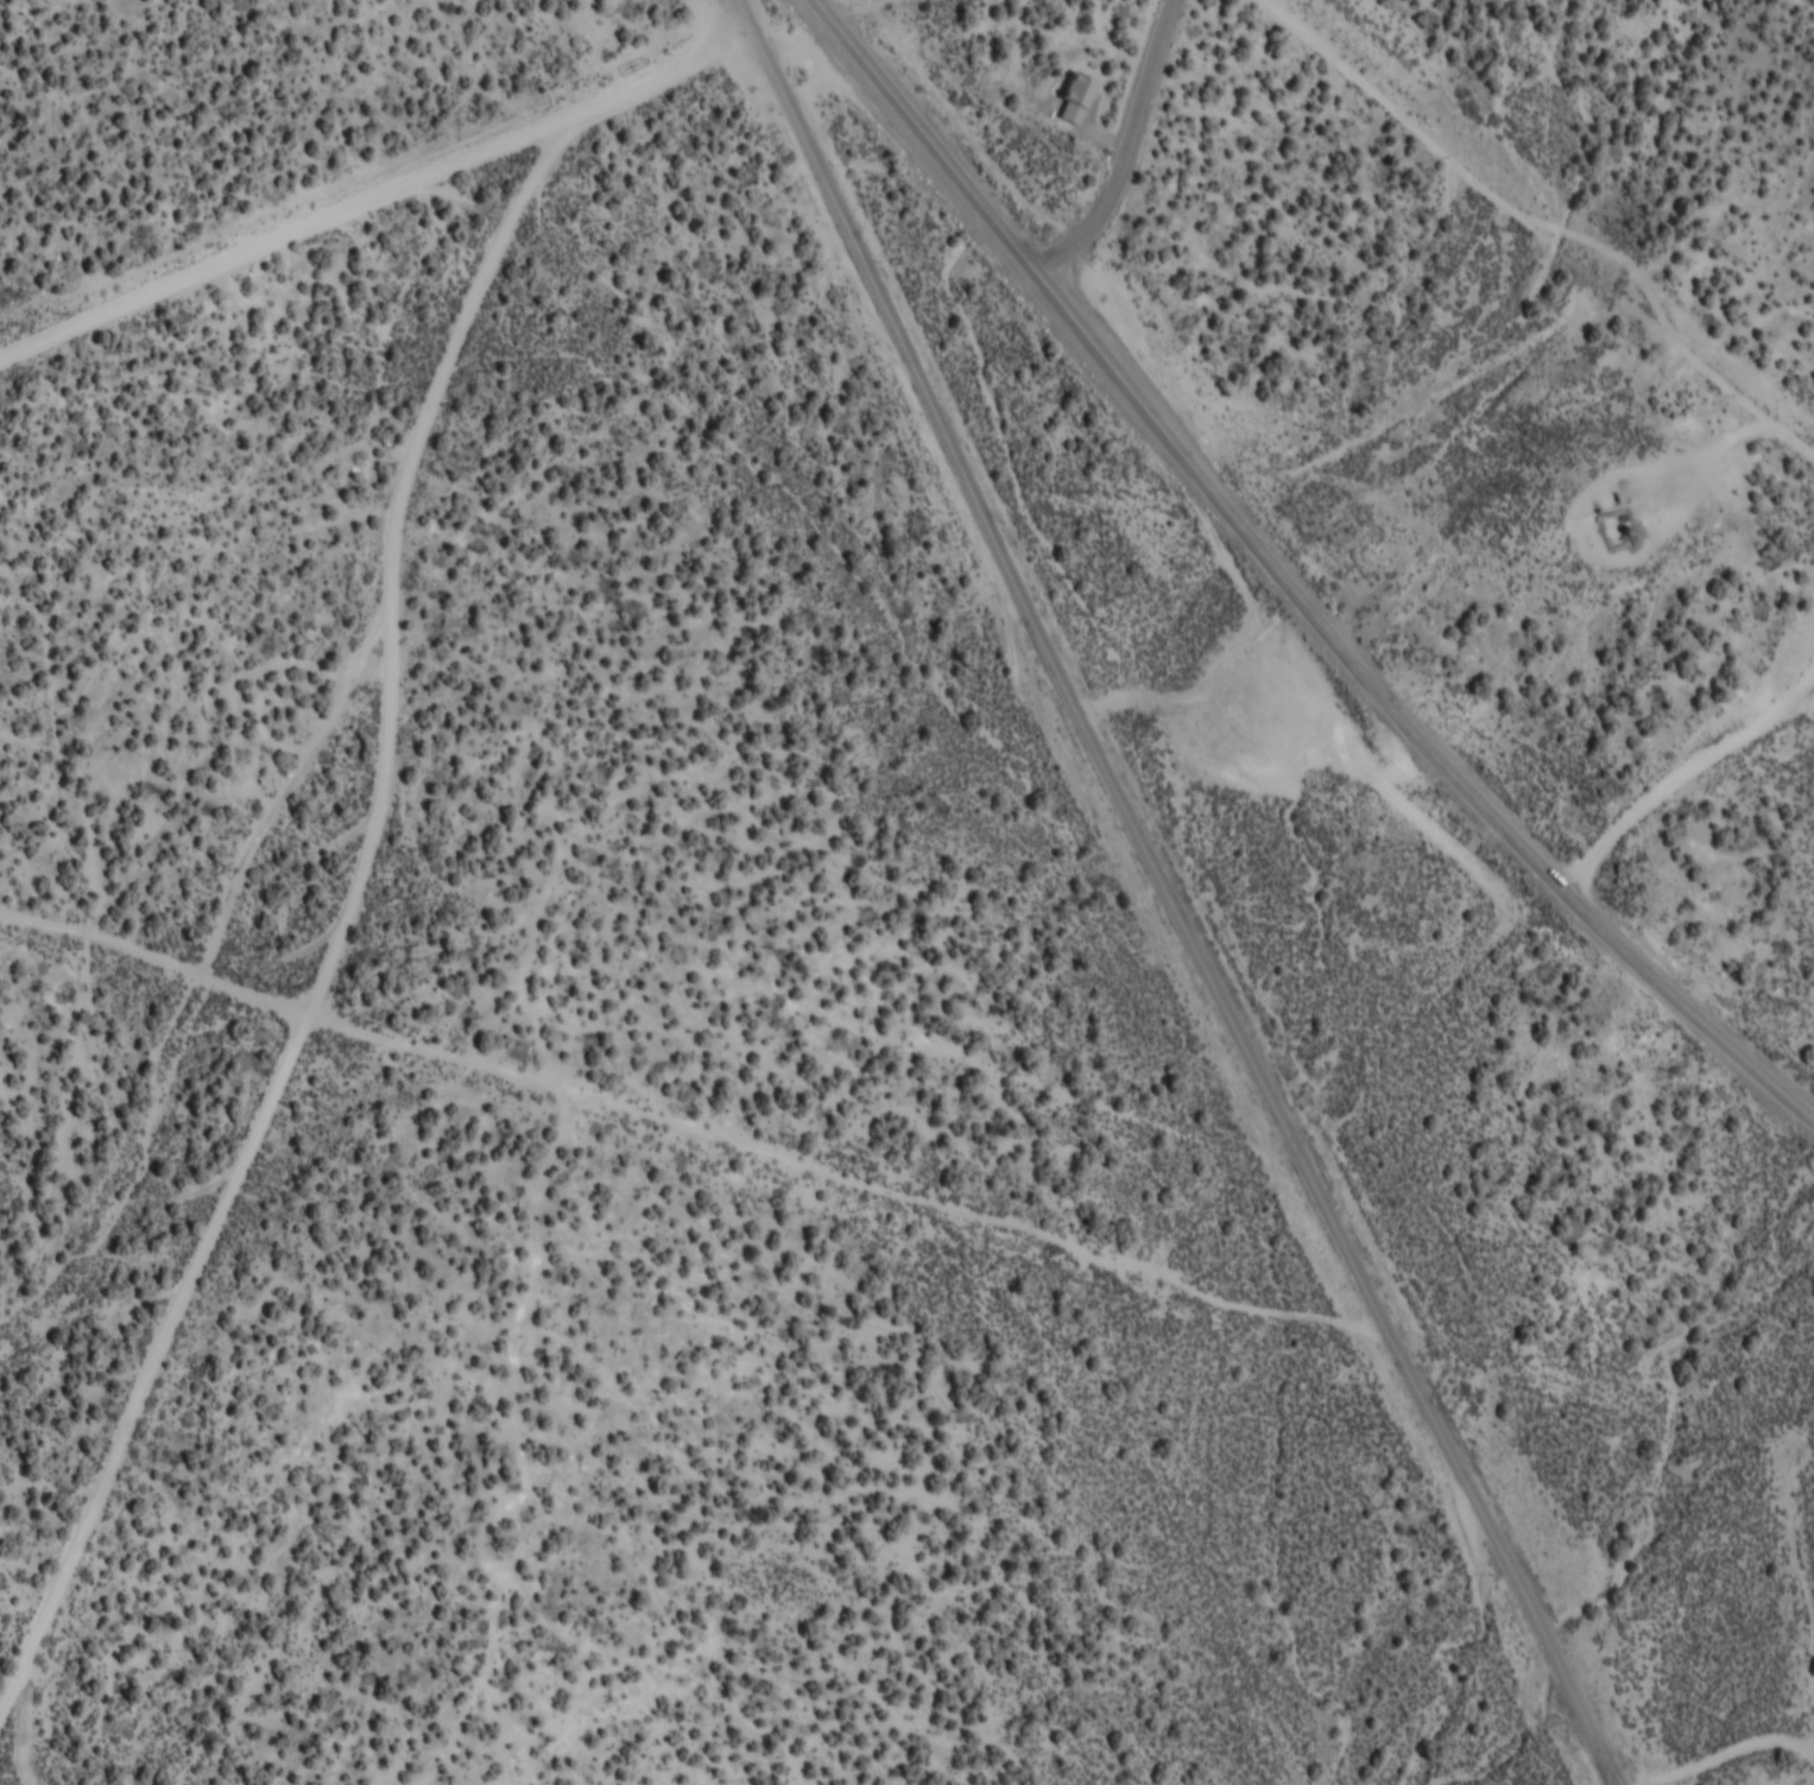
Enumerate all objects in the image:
road: (1131, 147)
road: (377, 197)
road: (1537, 214)
road: (1439, 391)
road: (1737, 412)
road: (1772, 423)
road: (1588, 540)
road: (1291, 582)
road: (1682, 770)
road: (1175, 895)
road: (693, 1115)
road: (150, 1363)
road: (20, 1730)
road: (1718, 1755)

